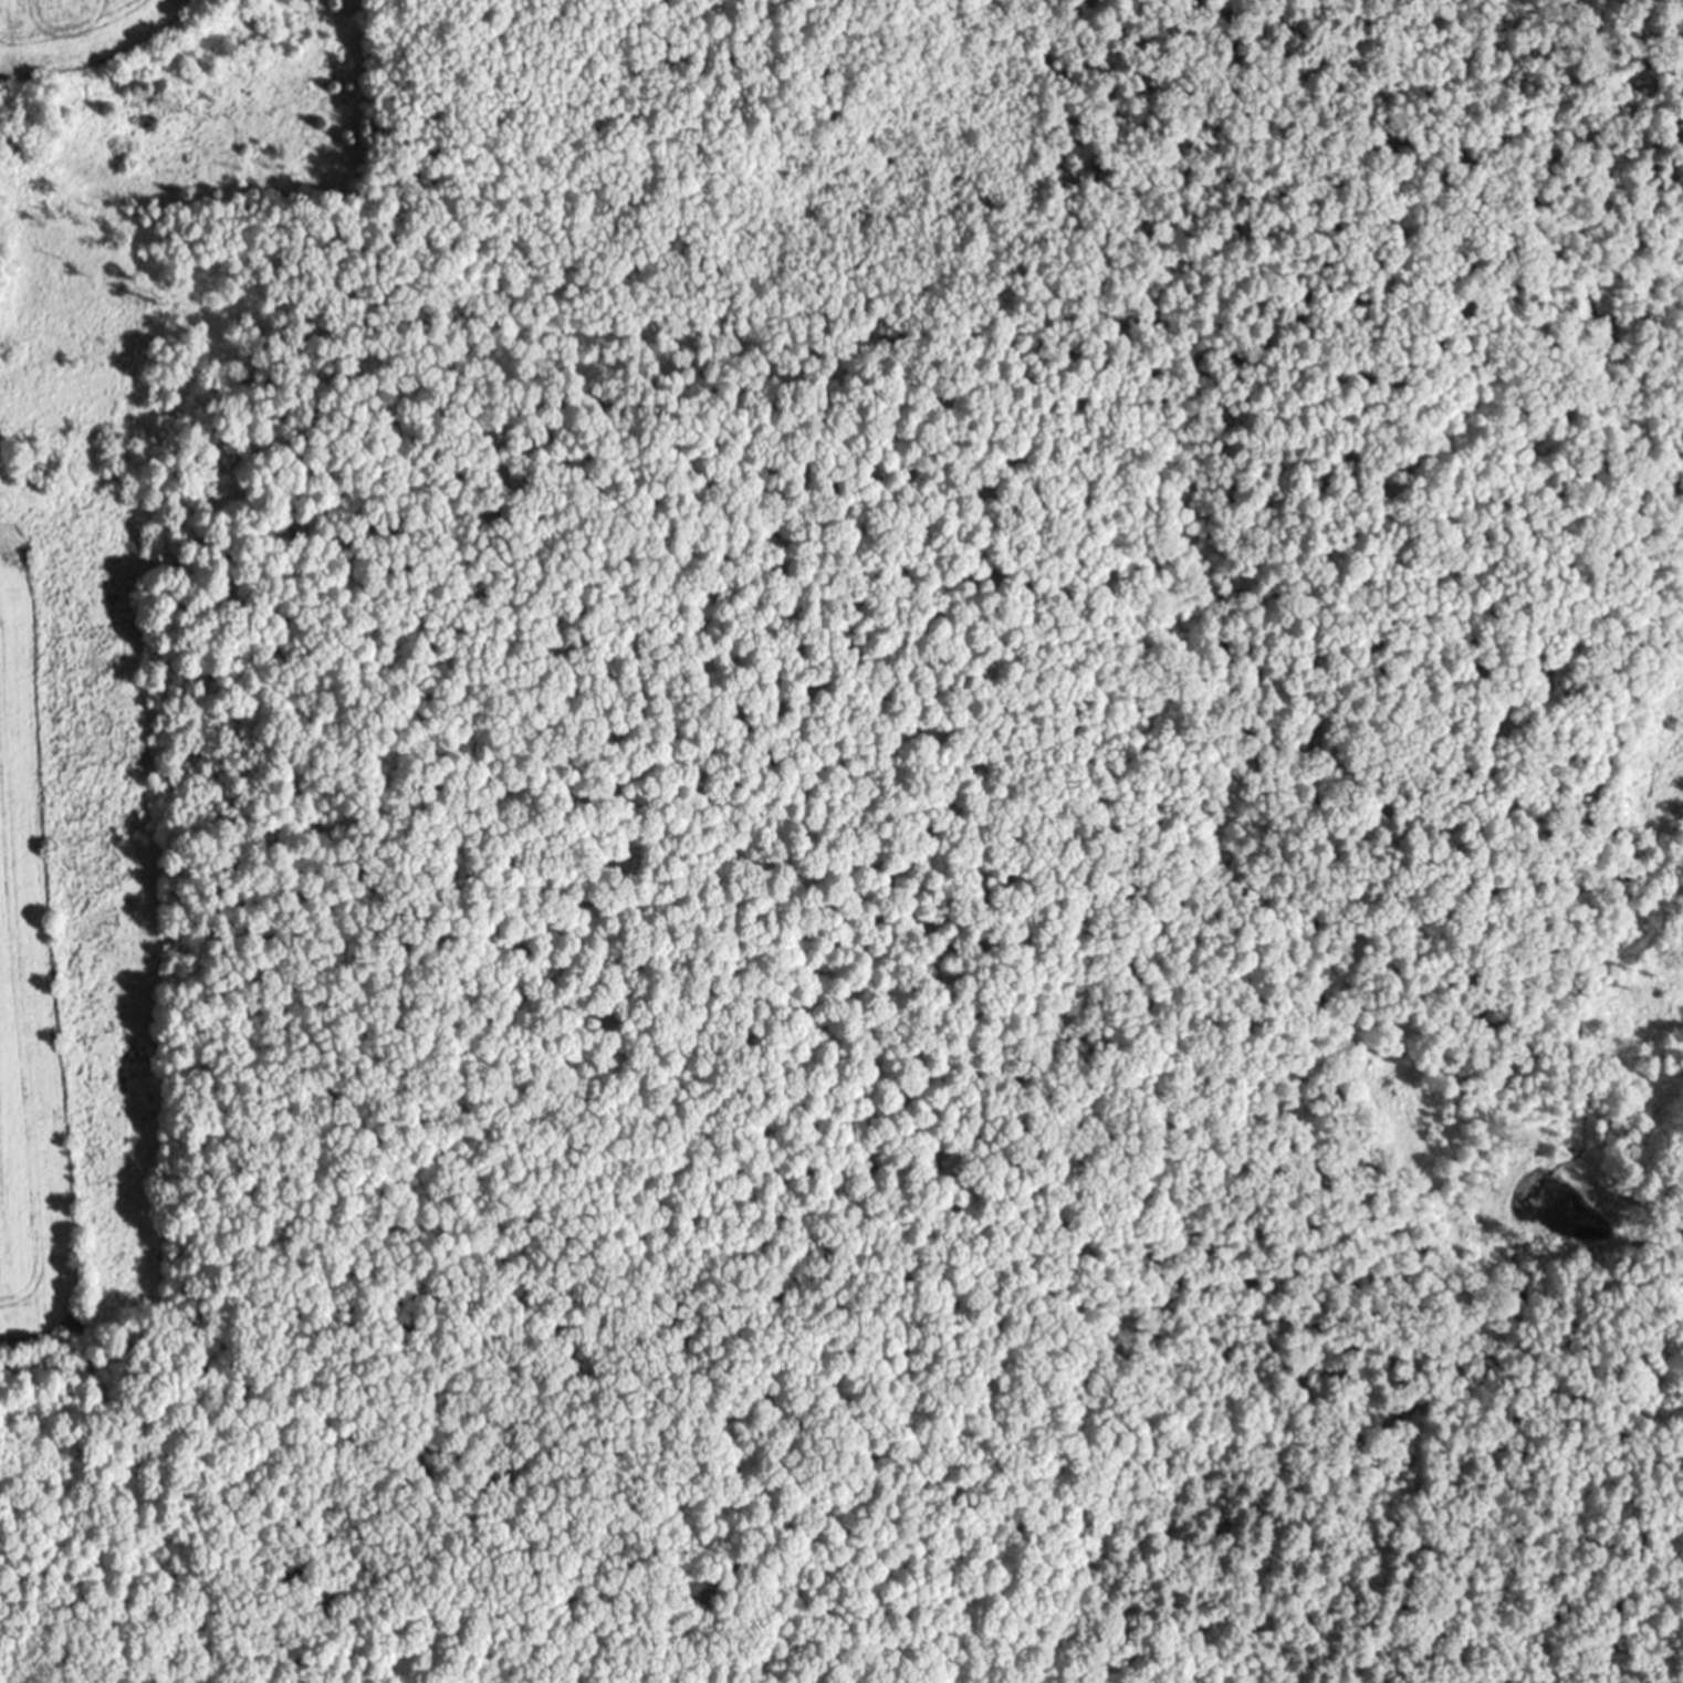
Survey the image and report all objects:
river: (1566, 238)
river: (1577, 1058)
river: (1608, 1538)

